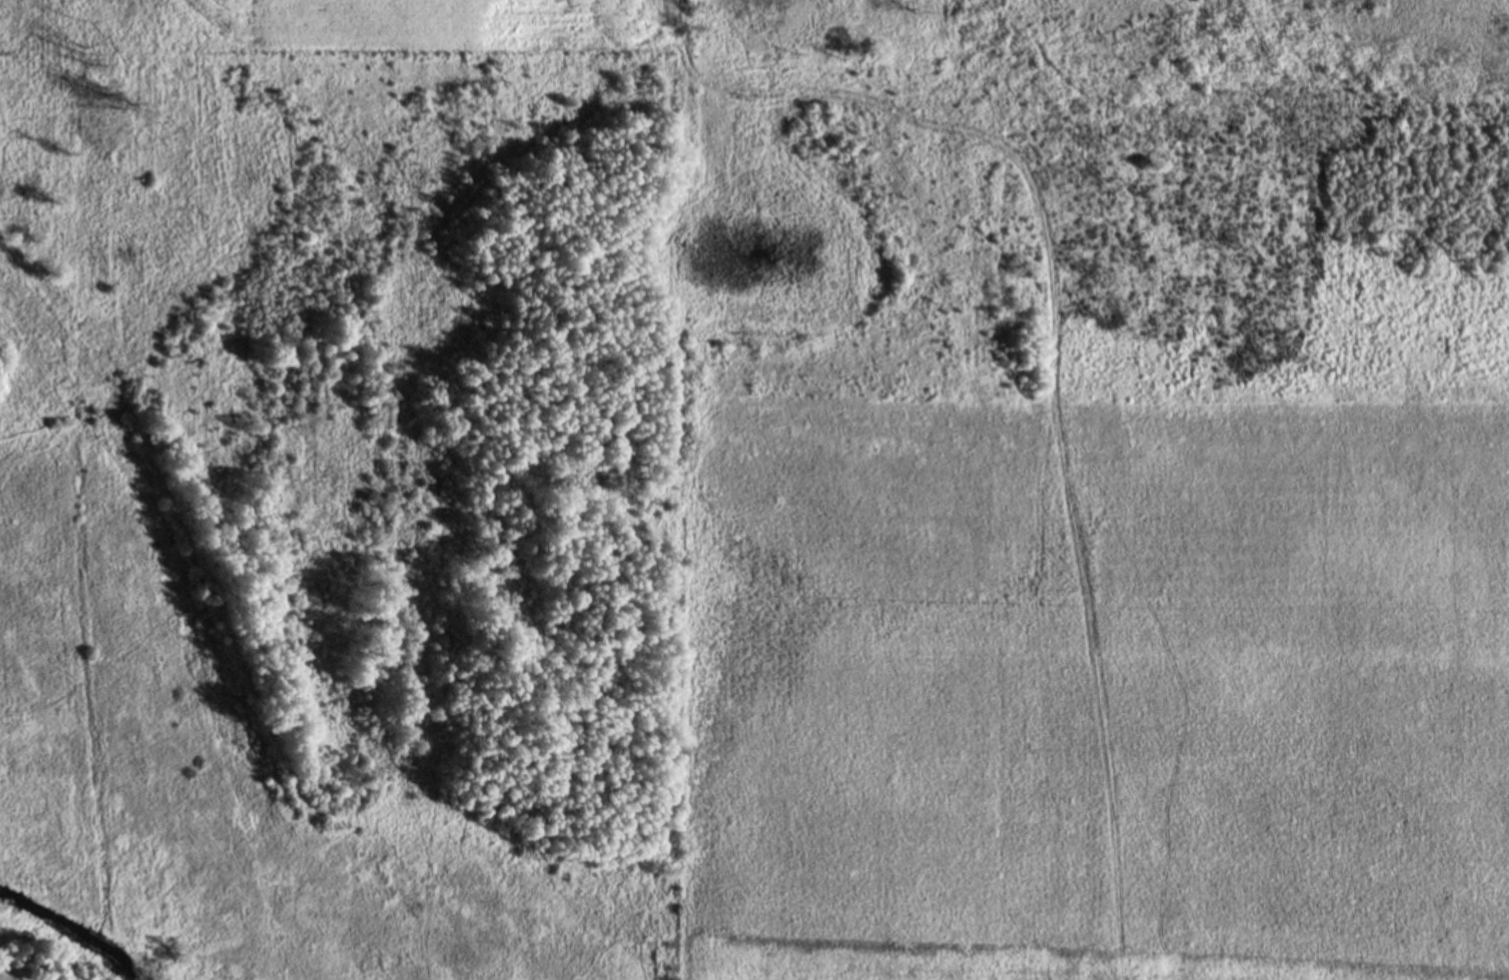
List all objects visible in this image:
river: (64, 939)

